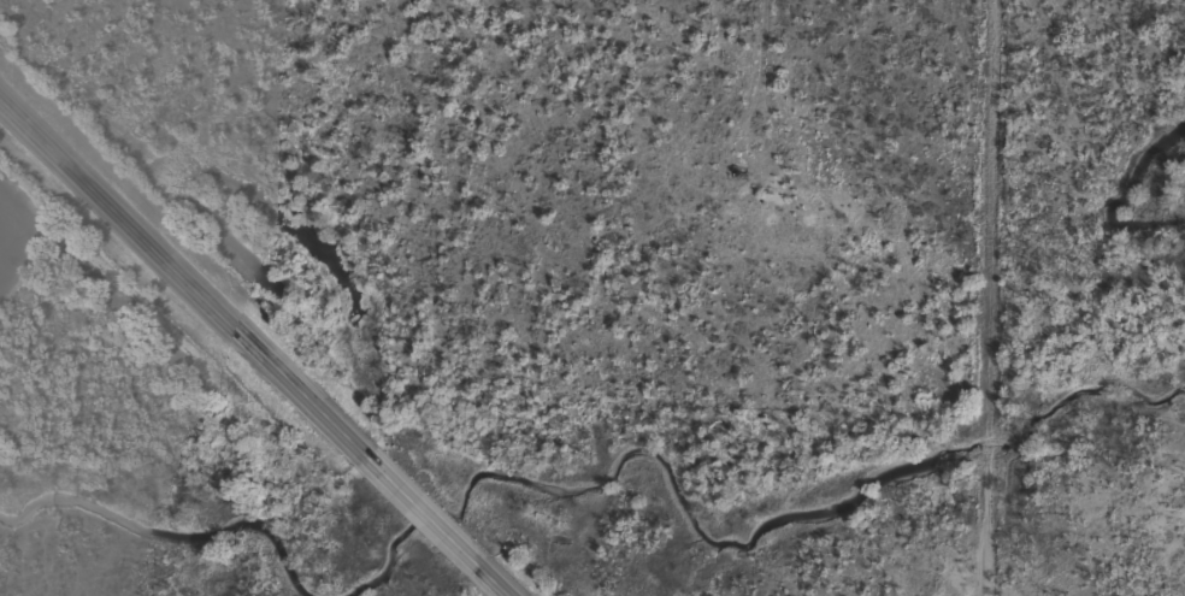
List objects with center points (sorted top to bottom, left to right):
road: (990, 297)
road: (255, 346)

